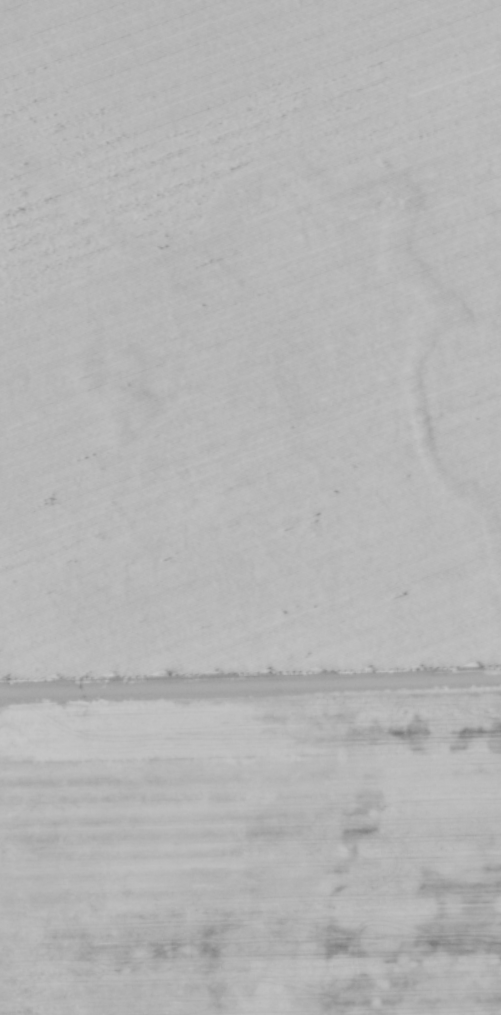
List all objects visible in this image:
road: (250, 672)

